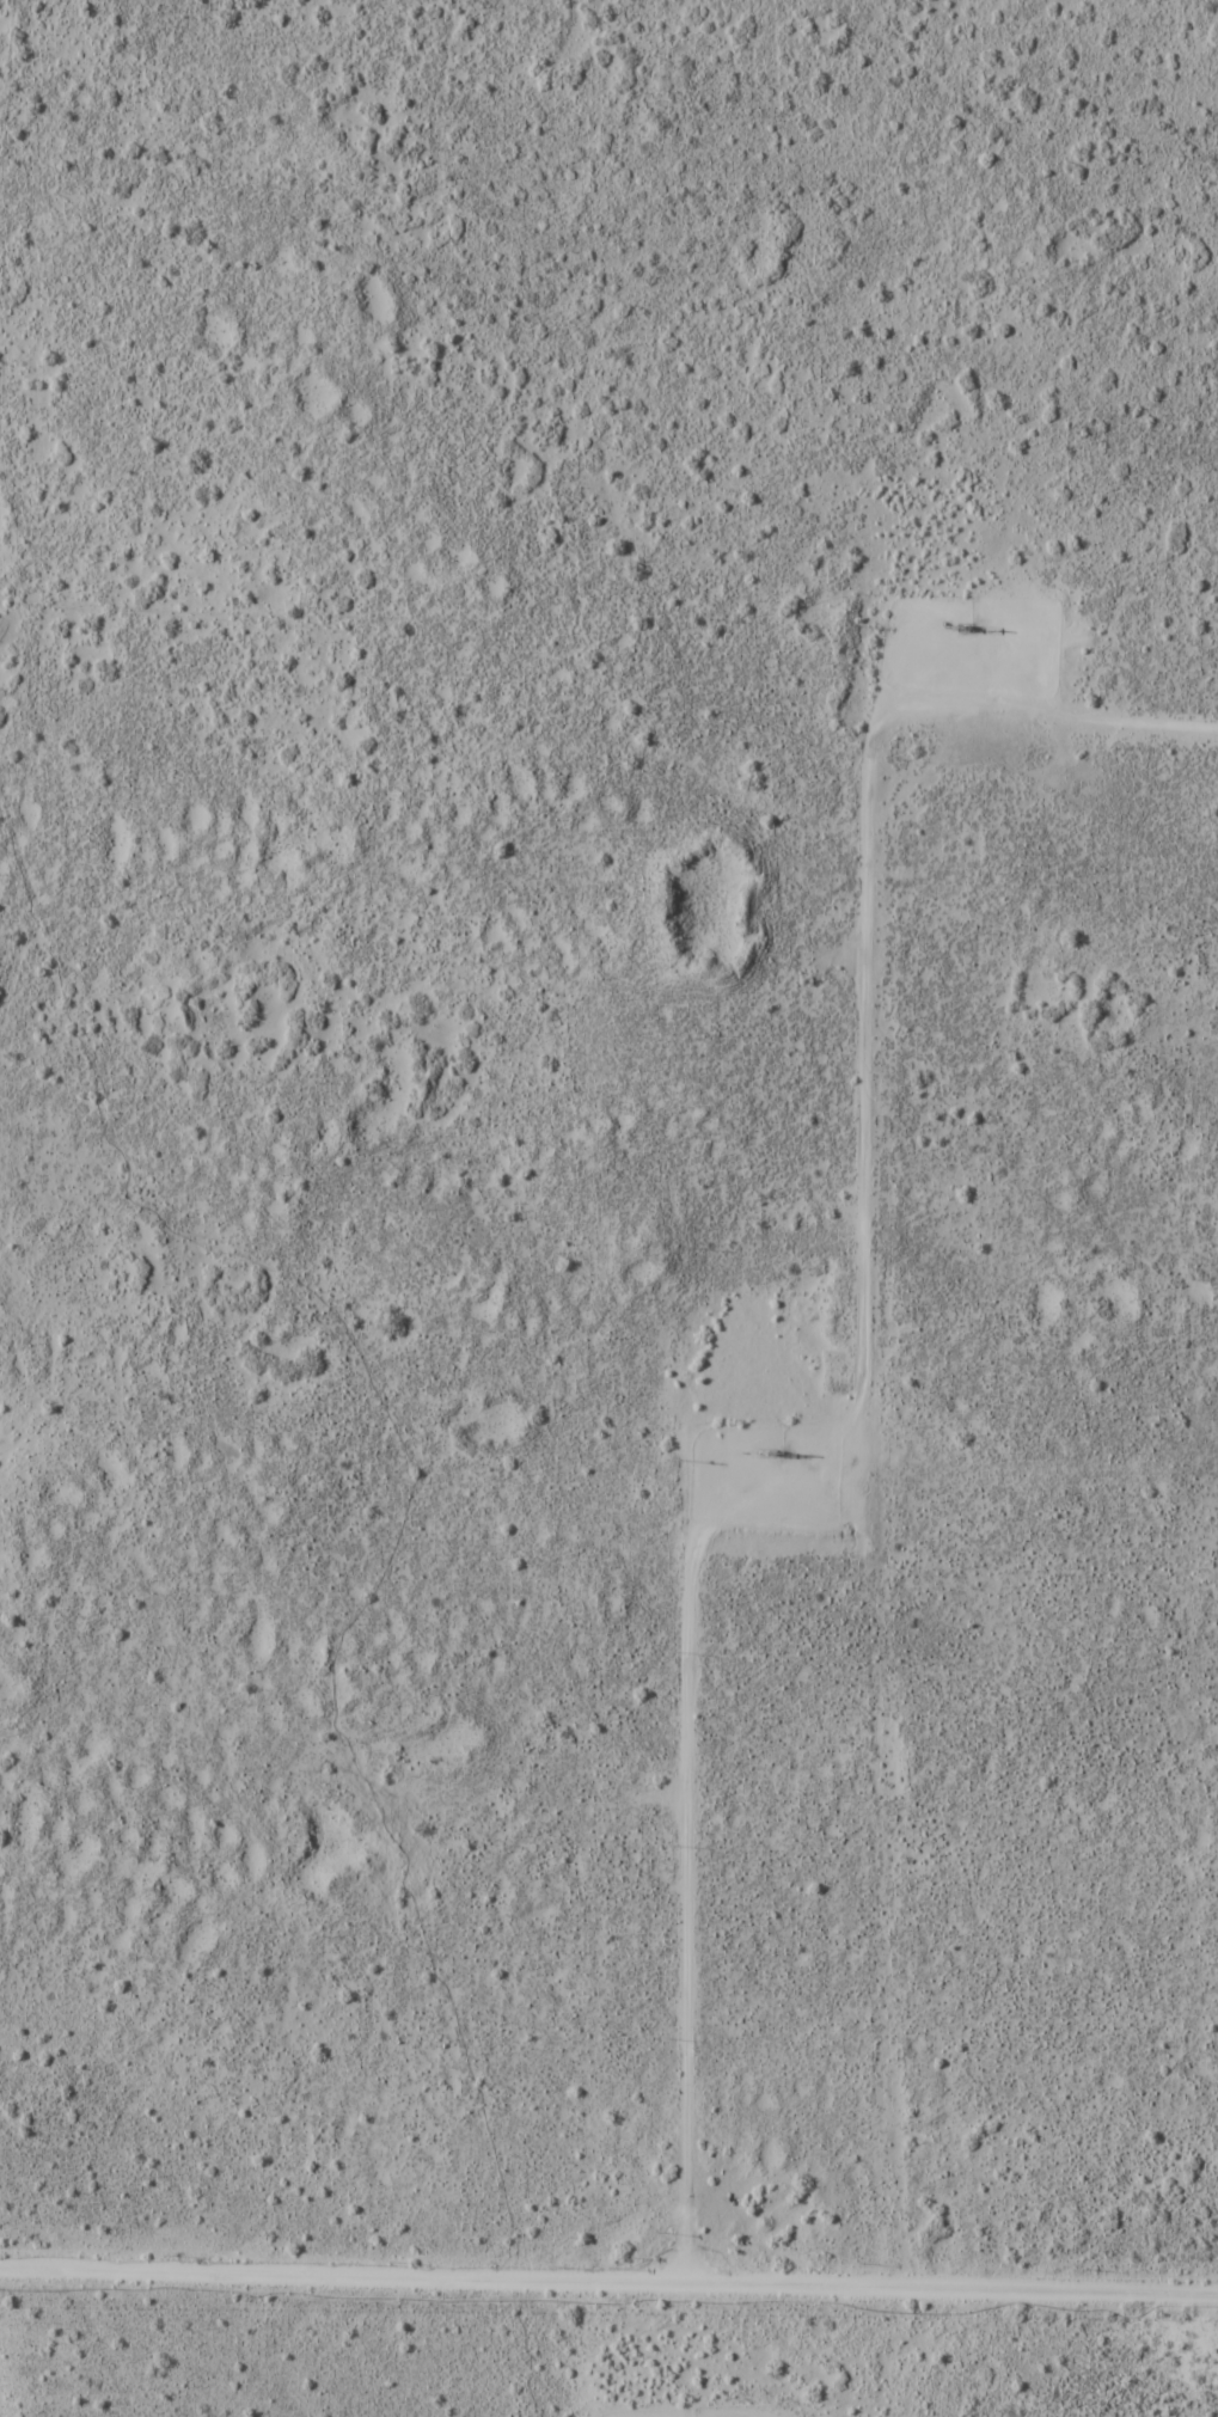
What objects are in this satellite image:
petroleum well: (951, 623)
road: (877, 1362)
petroleum well: (764, 1442)
road: (608, 2275)

